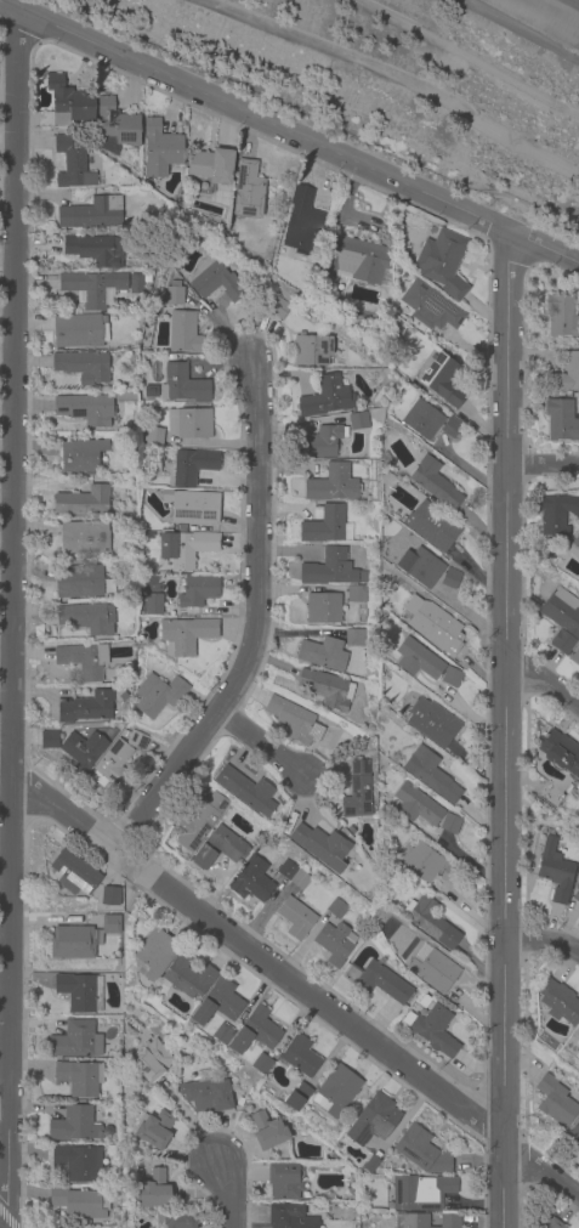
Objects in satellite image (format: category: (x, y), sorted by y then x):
building: (66, 104)
building: (115, 126)
road: (289, 137)
building: (160, 149)
building: (72, 165)
building: (211, 165)
building: (248, 191)
building: (91, 214)
building: (302, 223)
building: (92, 249)
building: (357, 262)
building: (442, 262)
building: (216, 283)
building: (137, 284)
building: (91, 289)
building: (174, 294)
building: (278, 307)
building: (430, 307)
building: (561, 316)
building: (79, 330)
building: (183, 333)
building: (311, 350)
building: (83, 366)
building: (566, 374)
building: (443, 379)
building: (182, 385)
building: (125, 395)
building: (327, 397)
building: (85, 408)
building: (561, 420)
building: (358, 421)
building: (422, 421)
building: (187, 424)
building: (450, 428)
building: (153, 436)
building: (322, 442)
building: (80, 454)
building: (192, 465)
road: (545, 468)
building: (385, 477)
building: (331, 483)
building: (433, 483)
building: (83, 502)
building: (195, 508)
building: (556, 514)
building: (324, 526)
building: (431, 526)
building: (182, 528)
building: (84, 538)
building: (186, 548)
building: (574, 548)
building: (420, 567)
building: (331, 570)
building: (450, 578)
building: (78, 582)
building: (149, 585)
building: (198, 590)
building: (357, 594)
building: (153, 604)
building: (323, 609)
building: (561, 618)
building: (84, 619)
road: (16, 622)
building: (430, 622)
road: (261, 634)
building: (186, 635)
building: (354, 639)
building: (124, 646)
building: (323, 655)
building: (574, 656)
building: (418, 660)
building: (80, 662)
building: (450, 678)
road: (545, 683)
building: (327, 689)
building: (155, 695)
building: (123, 697)
building: (85, 709)
building: (293, 719)
building: (435, 726)
road: (510, 732)
building: (46, 741)
building: (136, 742)
road: (266, 748)
building: (83, 749)
building: (560, 754)
building: (110, 764)
building: (431, 774)
building: (577, 788)
building: (246, 792)
building: (357, 792)
building: (416, 805)
building: (198, 822)
building: (449, 824)
building: (319, 848)
building: (216, 849)
building: (419, 860)
building: (578, 868)
building: (555, 871)
building: (73, 873)
building: (449, 873)
building: (291, 876)
building: (251, 881)
building: (575, 889)
building: (109, 896)
building: (336, 909)
road: (260, 915)
building: (295, 917)
building: (430, 921)
building: (80, 938)
building: (334, 944)
road: (545, 949)
building: (154, 955)
building: (432, 968)
building: (187, 978)
road: (288, 981)
building: (378, 981)
building: (76, 992)
building: (218, 1002)
building: (558, 1002)
building: (132, 1007)
building: (432, 1030)
building: (148, 1031)
building: (255, 1031)
building: (577, 1032)
building: (222, 1035)
building: (74, 1040)
building: (299, 1056)
building: (152, 1060)
building: (260, 1064)
building: (79, 1077)
building: (335, 1092)
building: (208, 1097)
building: (297, 1097)
building: (240, 1099)
building: (555, 1102)
building: (373, 1120)
building: (73, 1124)
building: (153, 1128)
building: (267, 1131)
building: (572, 1133)
building: (421, 1151)
building: (334, 1156)
building: (76, 1162)
building: (370, 1165)
building: (284, 1181)
building: (153, 1190)
building: (420, 1193)
road: (231, 1196)
building: (79, 1202)
building: (289, 1217)
building: (545, 1219)
building: (175, 1221)
building: (415, 1221)

